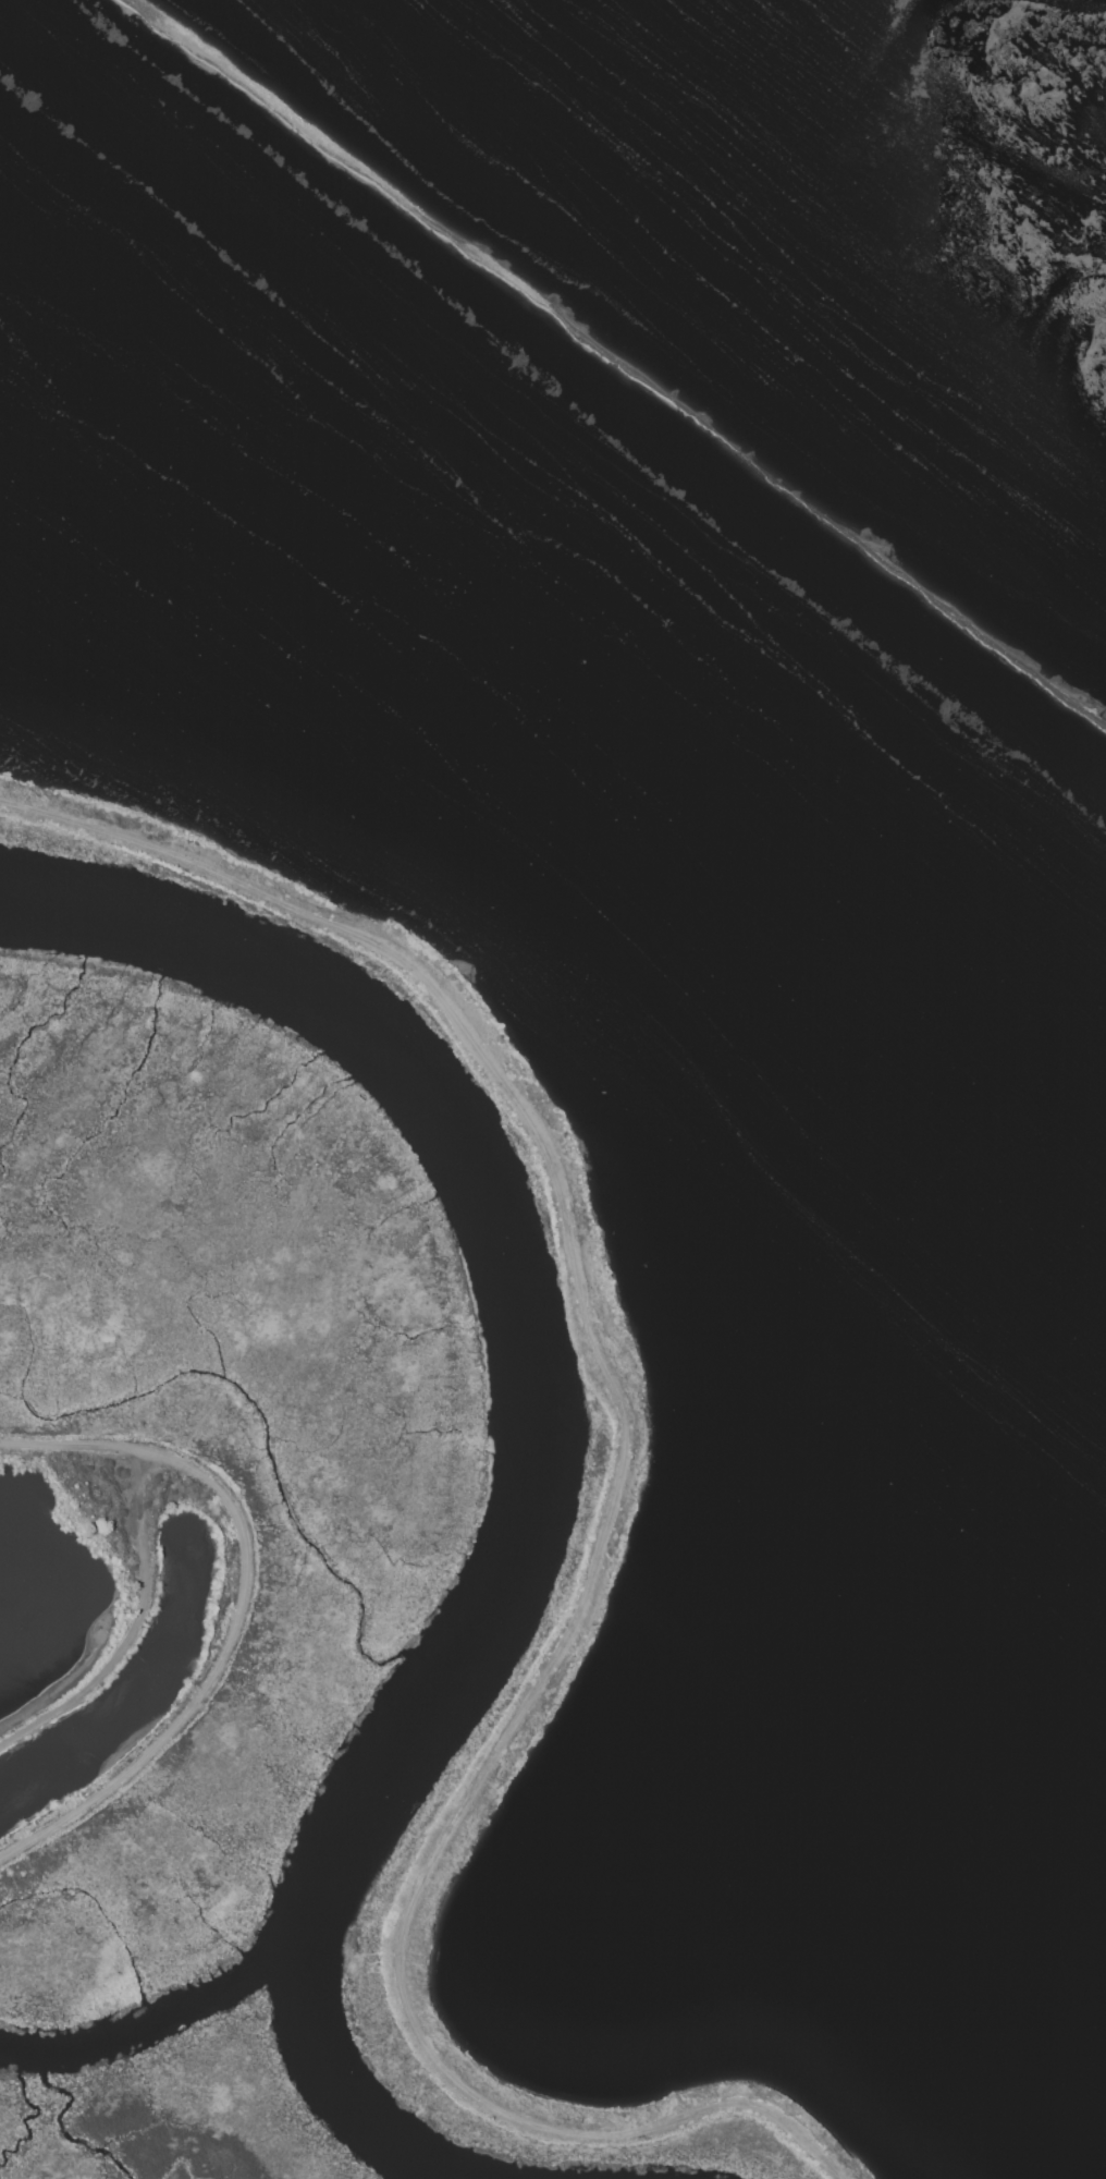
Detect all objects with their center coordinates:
river: (520, 1445)
road: (606, 1524)
road: (238, 1609)
road: (134, 1630)

